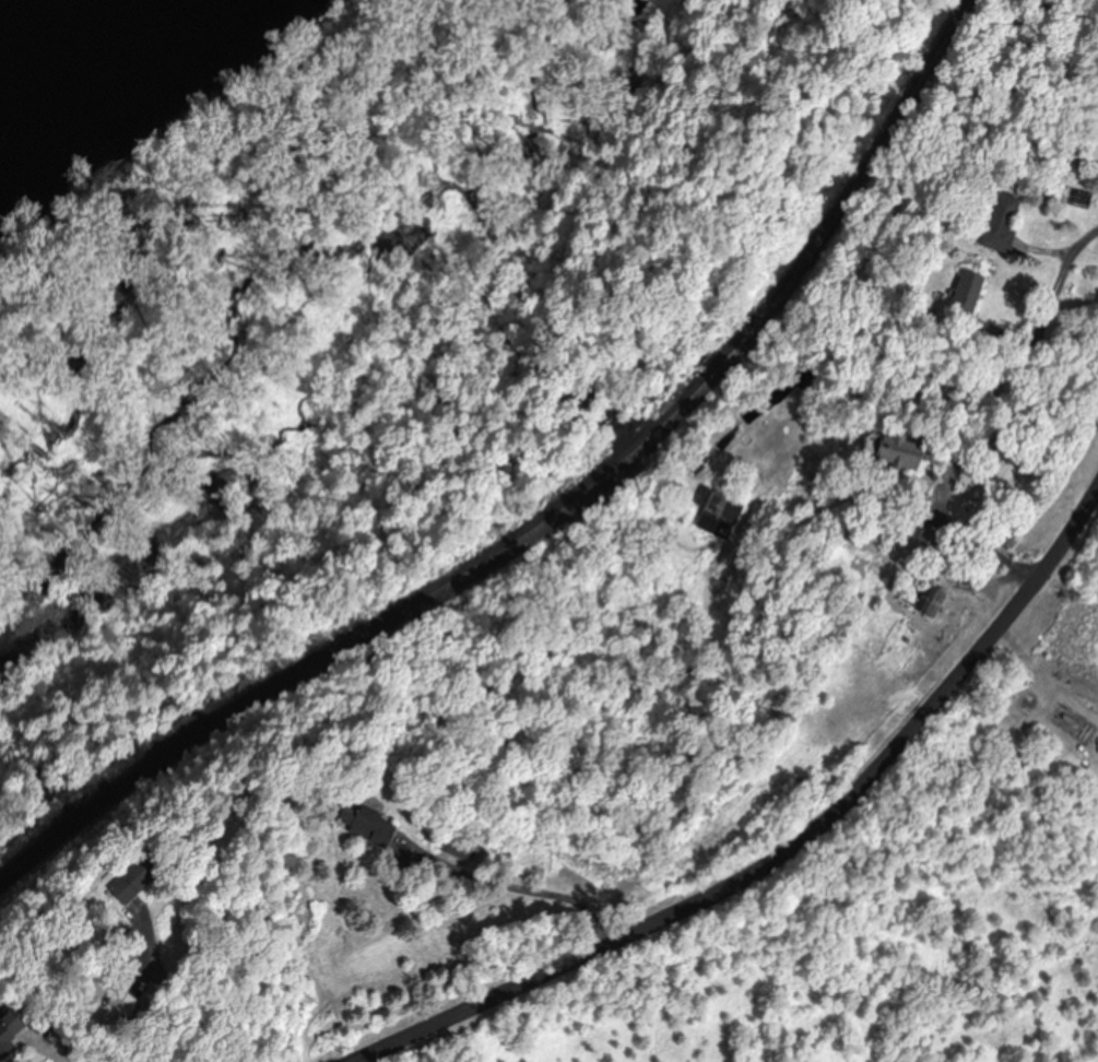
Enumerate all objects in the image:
river: (21, 16)
building: (1003, 222)
building: (969, 293)
building: (896, 451)
building: (723, 507)
railway: (553, 519)
building: (931, 540)
building: (370, 826)
building: (457, 847)
road: (776, 857)
building: (141, 875)
building: (10, 1031)

